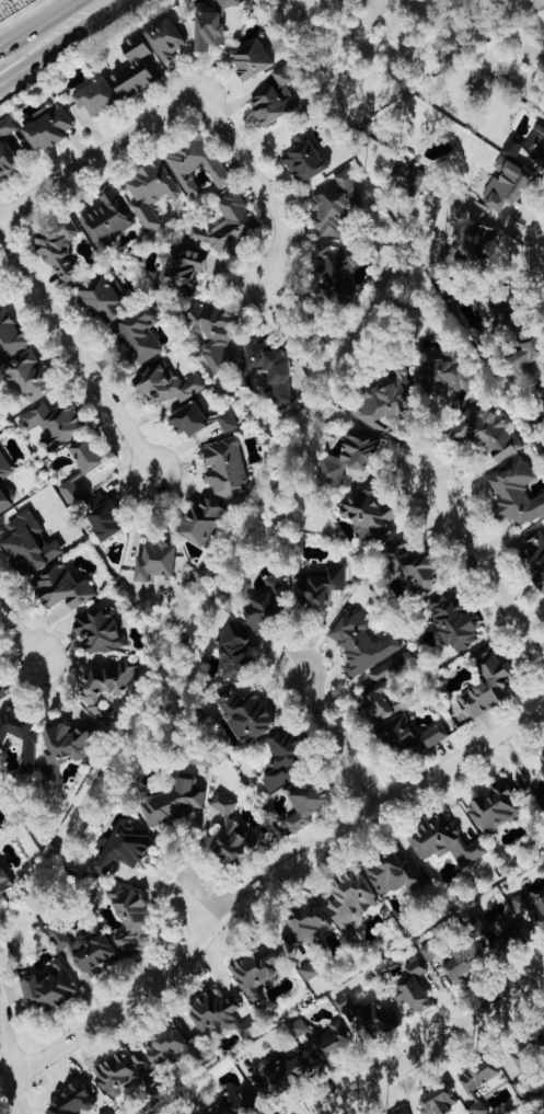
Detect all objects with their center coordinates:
building: (229, 3)
road: (53, 27)
building: (209, 31)
building: (165, 39)
road: (56, 43)
building: (252, 60)
building: (137, 69)
building: (96, 96)
building: (275, 99)
building: (7, 127)
building: (541, 127)
building: (47, 128)
building: (513, 148)
building: (540, 151)
road: (100, 156)
building: (8, 160)
building: (305, 160)
building: (196, 164)
building: (412, 179)
road: (259, 180)
building: (507, 185)
building: (152, 193)
building: (336, 206)
building: (107, 218)
building: (229, 225)
building: (487, 238)
building: (60, 251)
building: (181, 269)
building: (337, 271)
building: (105, 299)
building: (0, 300)
building: (504, 315)
building: (215, 334)
building: (525, 336)
building: (11, 337)
building: (139, 337)
road: (77, 351)
building: (529, 354)
building: (269, 369)
building: (448, 371)
building: (31, 378)
building: (166, 384)
building: (543, 394)
building: (384, 401)
building: (189, 421)
building: (228, 422)
building: (55, 424)
building: (488, 434)
building: (88, 456)
building: (350, 458)
building: (225, 469)
building: (4, 491)
building: (71, 492)
building: (516, 494)
building: (103, 516)
building: (369, 517)
building: (201, 522)
building: (30, 545)
building: (155, 562)
road: (485, 567)
building: (417, 569)
building: (321, 587)
building: (63, 593)
building: (269, 606)
building: (454, 624)
building: (100, 630)
road: (19, 631)
building: (361, 644)
building: (486, 685)
building: (107, 688)
building: (381, 693)
building: (2, 694)
building: (246, 716)
building: (21, 737)
building: (408, 737)
road: (340, 739)
building: (68, 744)
building: (282, 759)
building: (202, 761)
building: (541, 762)
building: (542, 802)
building: (173, 804)
building: (308, 805)
building: (495, 809)
building: (229, 835)
building: (444, 843)
building: (123, 849)
building: (398, 877)
road: (268, 881)
building: (4, 885)
building: (351, 900)
road: (204, 907)
building: (531, 909)
building: (131, 919)
building: (306, 923)
building: (499, 935)
building: (85, 950)
building: (431, 952)
building: (465, 967)
building: (257, 973)
building: (310, 973)
building: (49, 988)
building: (414, 988)
building: (221, 1017)
building: (343, 1031)
road: (435, 1044)
building: (167, 1048)
road: (9, 1060)
building: (127, 1075)
building: (285, 1076)
building: (478, 1077)
building: (524, 1087)
building: (73, 1102)
building: (438, 1102)
building: (238, 1104)
building: (478, 1110)
building: (109, 1112)
building: (405, 1113)

